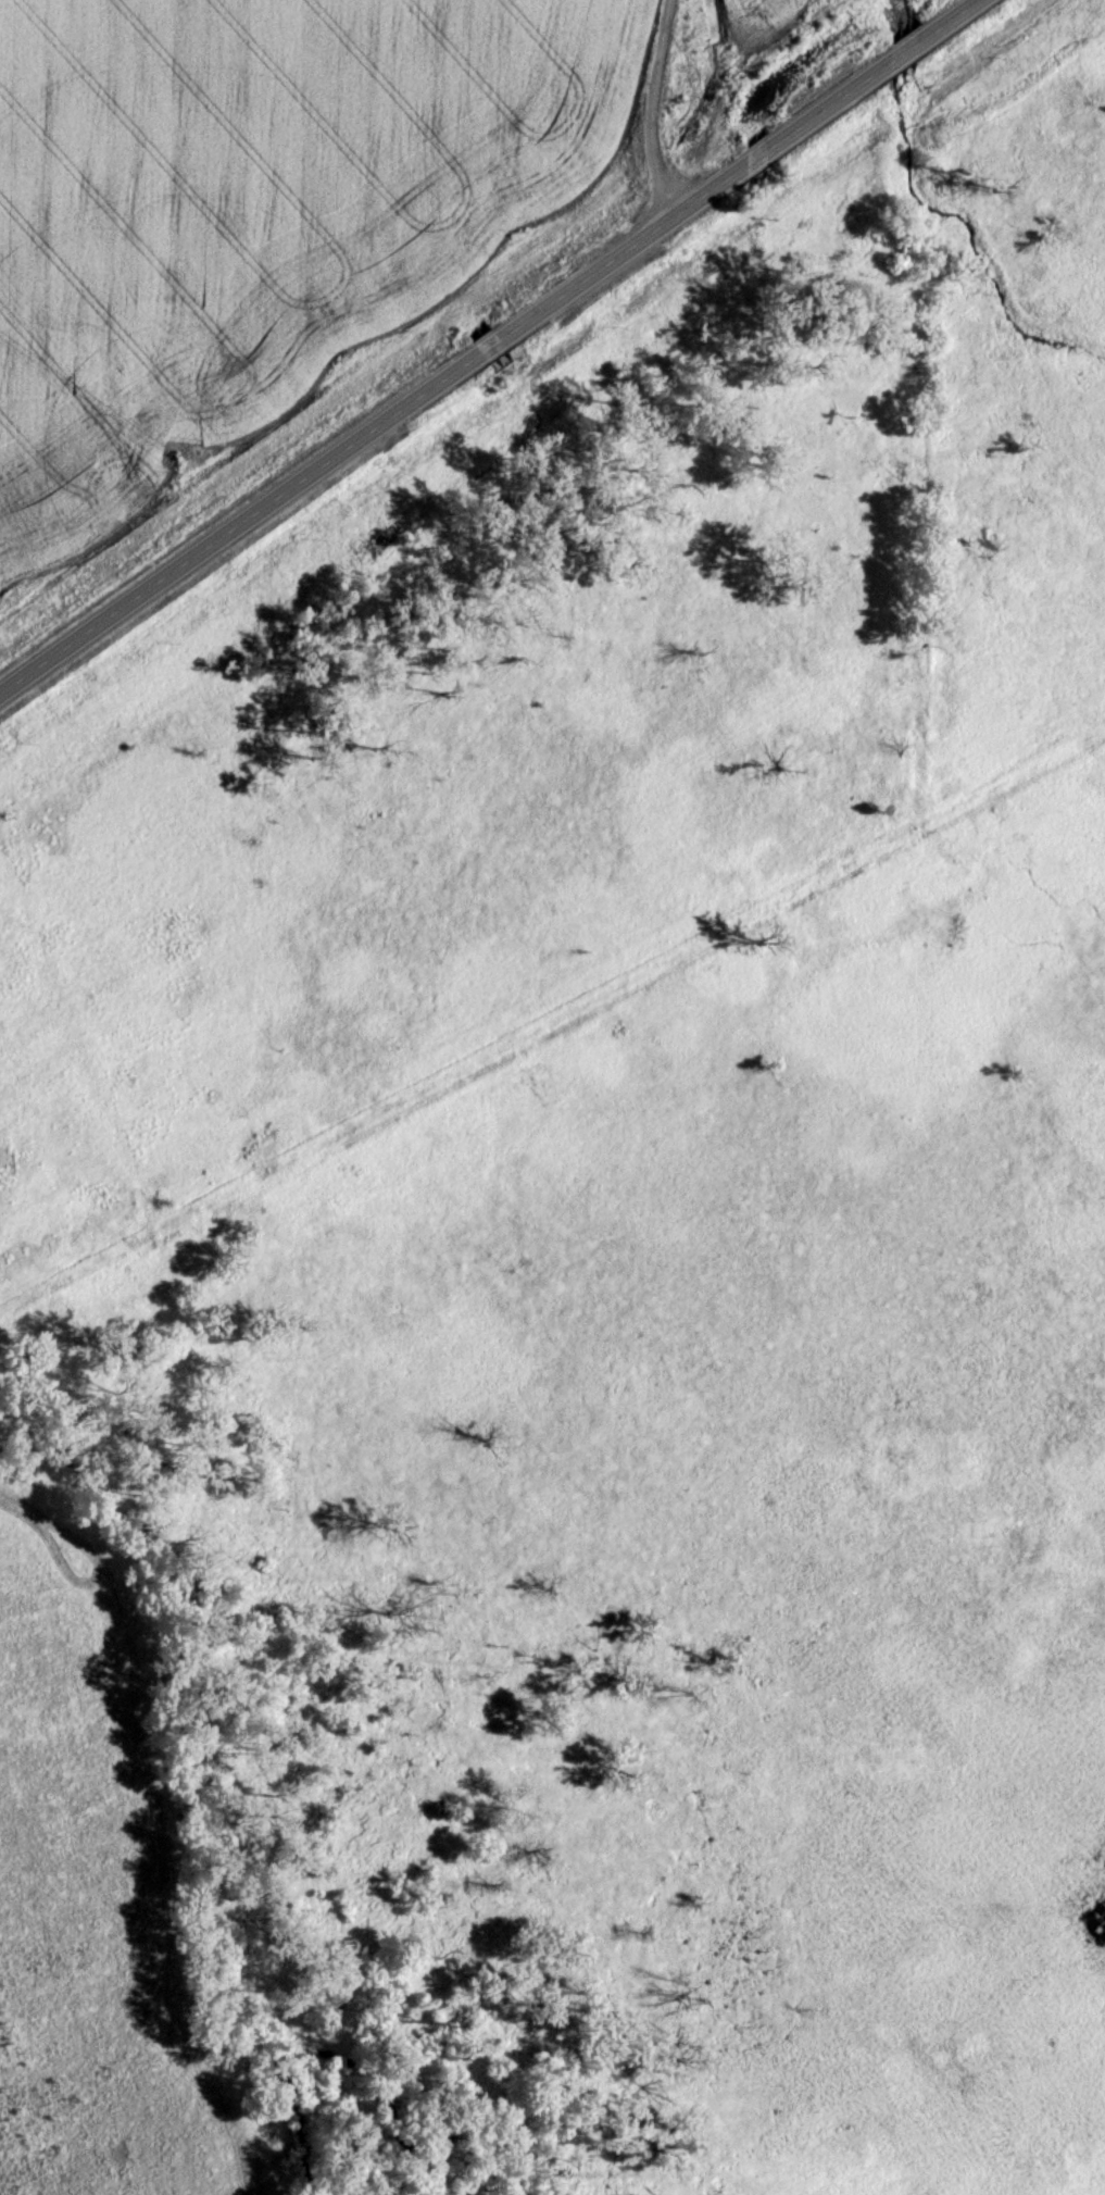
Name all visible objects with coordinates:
road: (696, 108)
road: (513, 361)

